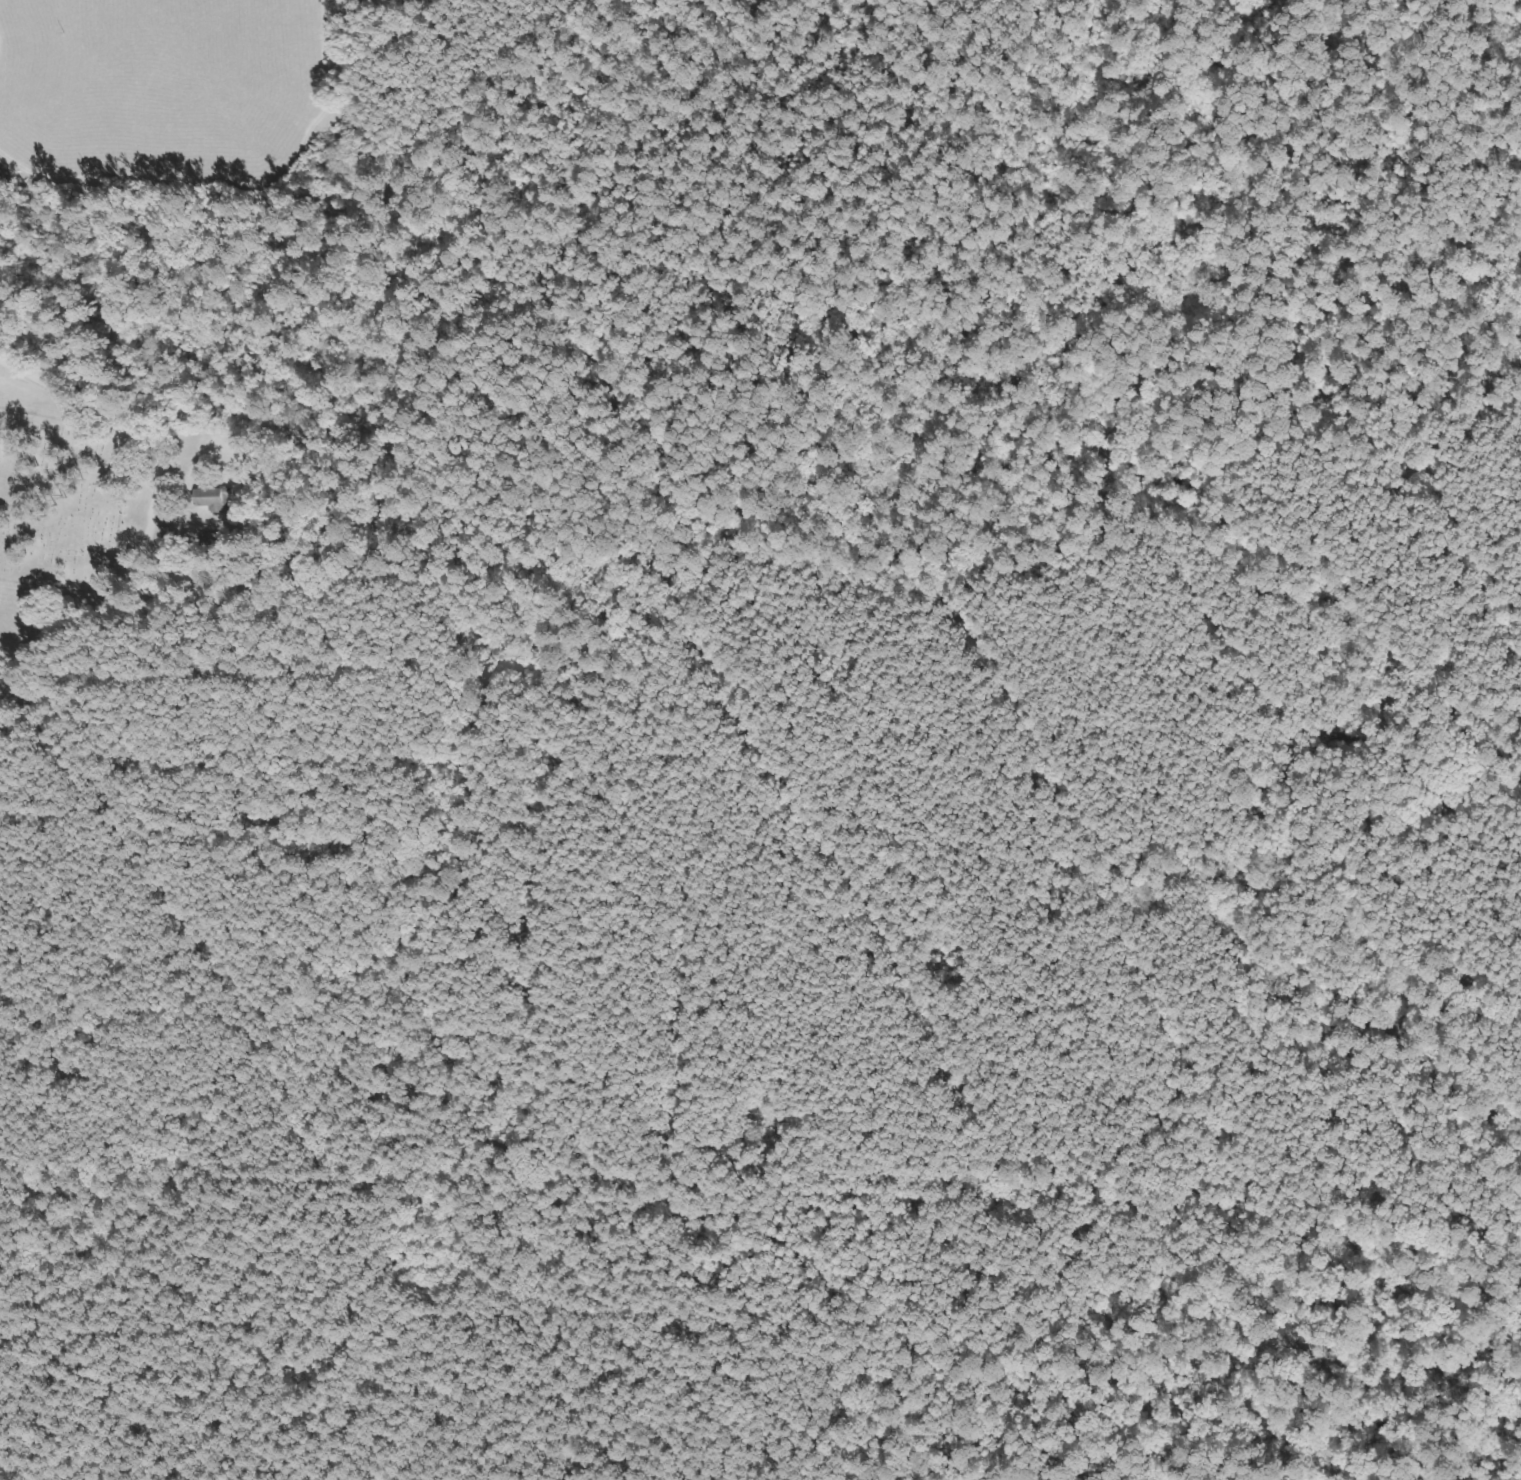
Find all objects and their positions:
park: (58, 501)

